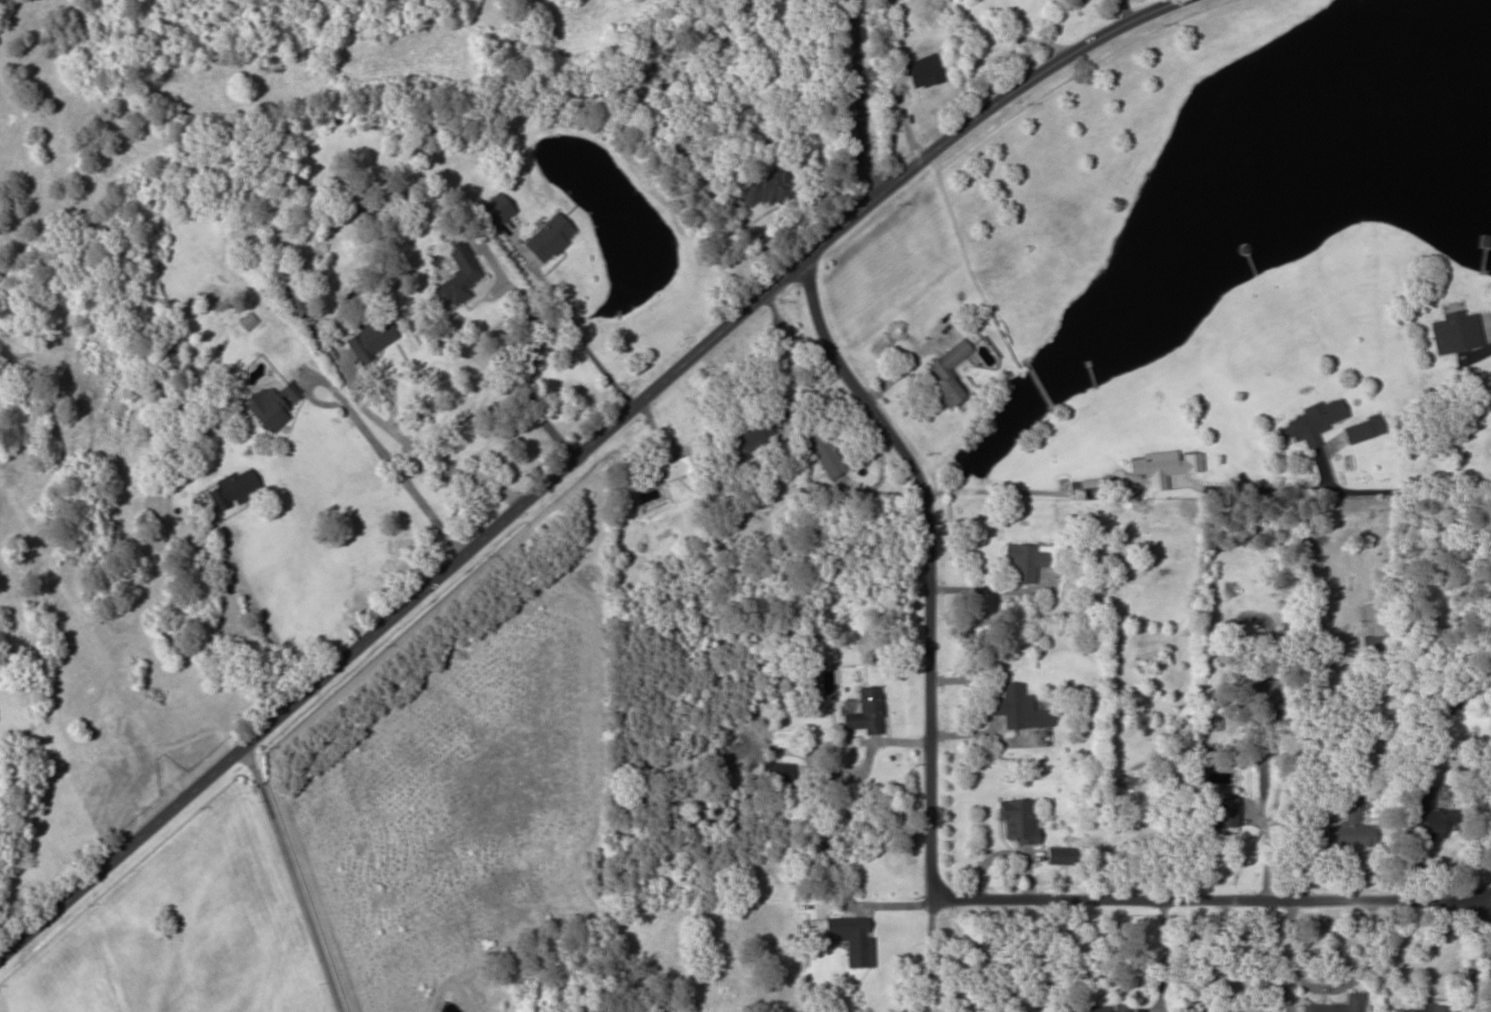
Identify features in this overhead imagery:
road: (872, 88)
building: (764, 186)
building: (495, 208)
building: (548, 237)
building: (456, 275)
building: (293, 298)
building: (1454, 332)
building: (369, 337)
building: (949, 373)
building: (271, 404)
building: (1312, 420)
building: (1370, 423)
building: (750, 440)
road: (569, 449)
building: (823, 451)
building: (1162, 465)
building: (666, 470)
road: (1342, 472)
building: (232, 488)
building: (1022, 562)
building: (1268, 696)
building: (1017, 708)
building: (864, 711)
road: (927, 756)
building: (1219, 812)
building: (1428, 815)
building: (1017, 820)
building: (1347, 827)
building: (848, 936)
building: (1337, 1005)
building: (1099, 1008)
building: (1430, 1008)

